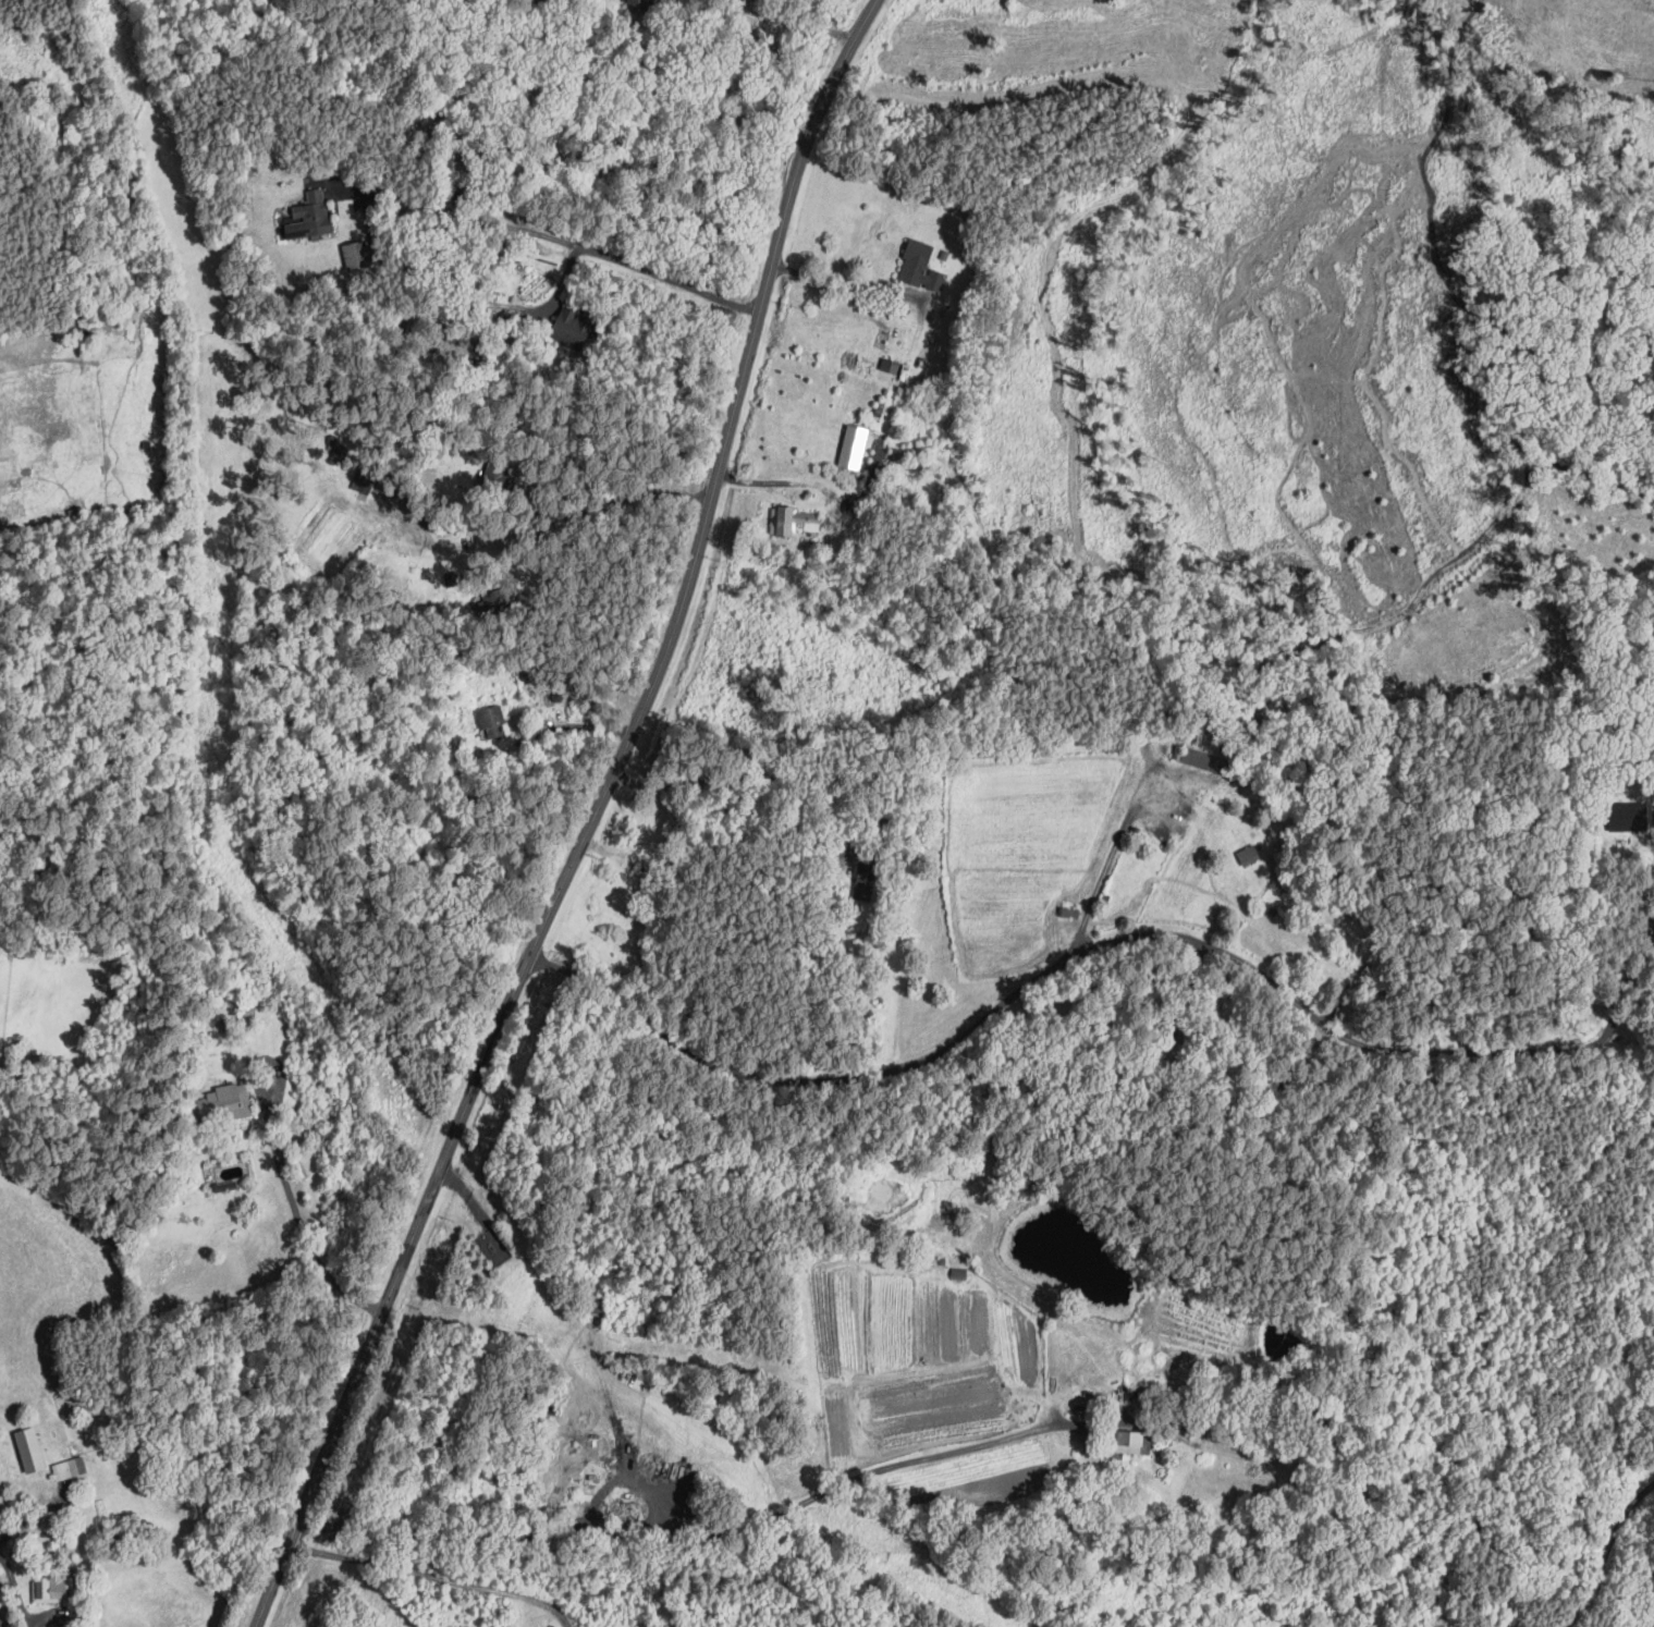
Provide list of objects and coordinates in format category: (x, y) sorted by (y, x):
building: (637, 2)
road: (784, 21)
road: (376, 191)
building: (309, 216)
road: (593, 252)
building: (356, 254)
building: (920, 266)
road: (845, 283)
road: (516, 307)
building: (572, 328)
building: (850, 443)
road: (773, 482)
building: (793, 519)
building: (492, 722)
road: (575, 725)
building: (1205, 760)
road: (750, 775)
building: (1628, 817)
road: (591, 820)
road: (1112, 856)
building: (1064, 908)
building: (1273, 910)
road: (1056, 965)
road: (1625, 986)
building: (1187, 1031)
building: (224, 1102)
building: (224, 1184)
road: (468, 1197)
road: (296, 1210)
building: (956, 1269)
building: (1042, 1410)
building: (1131, 1441)
building: (29, 1448)
building: (69, 1467)
road: (693, 1532)
road: (1606, 1551)
road: (434, 1577)
building: (50, 1587)

